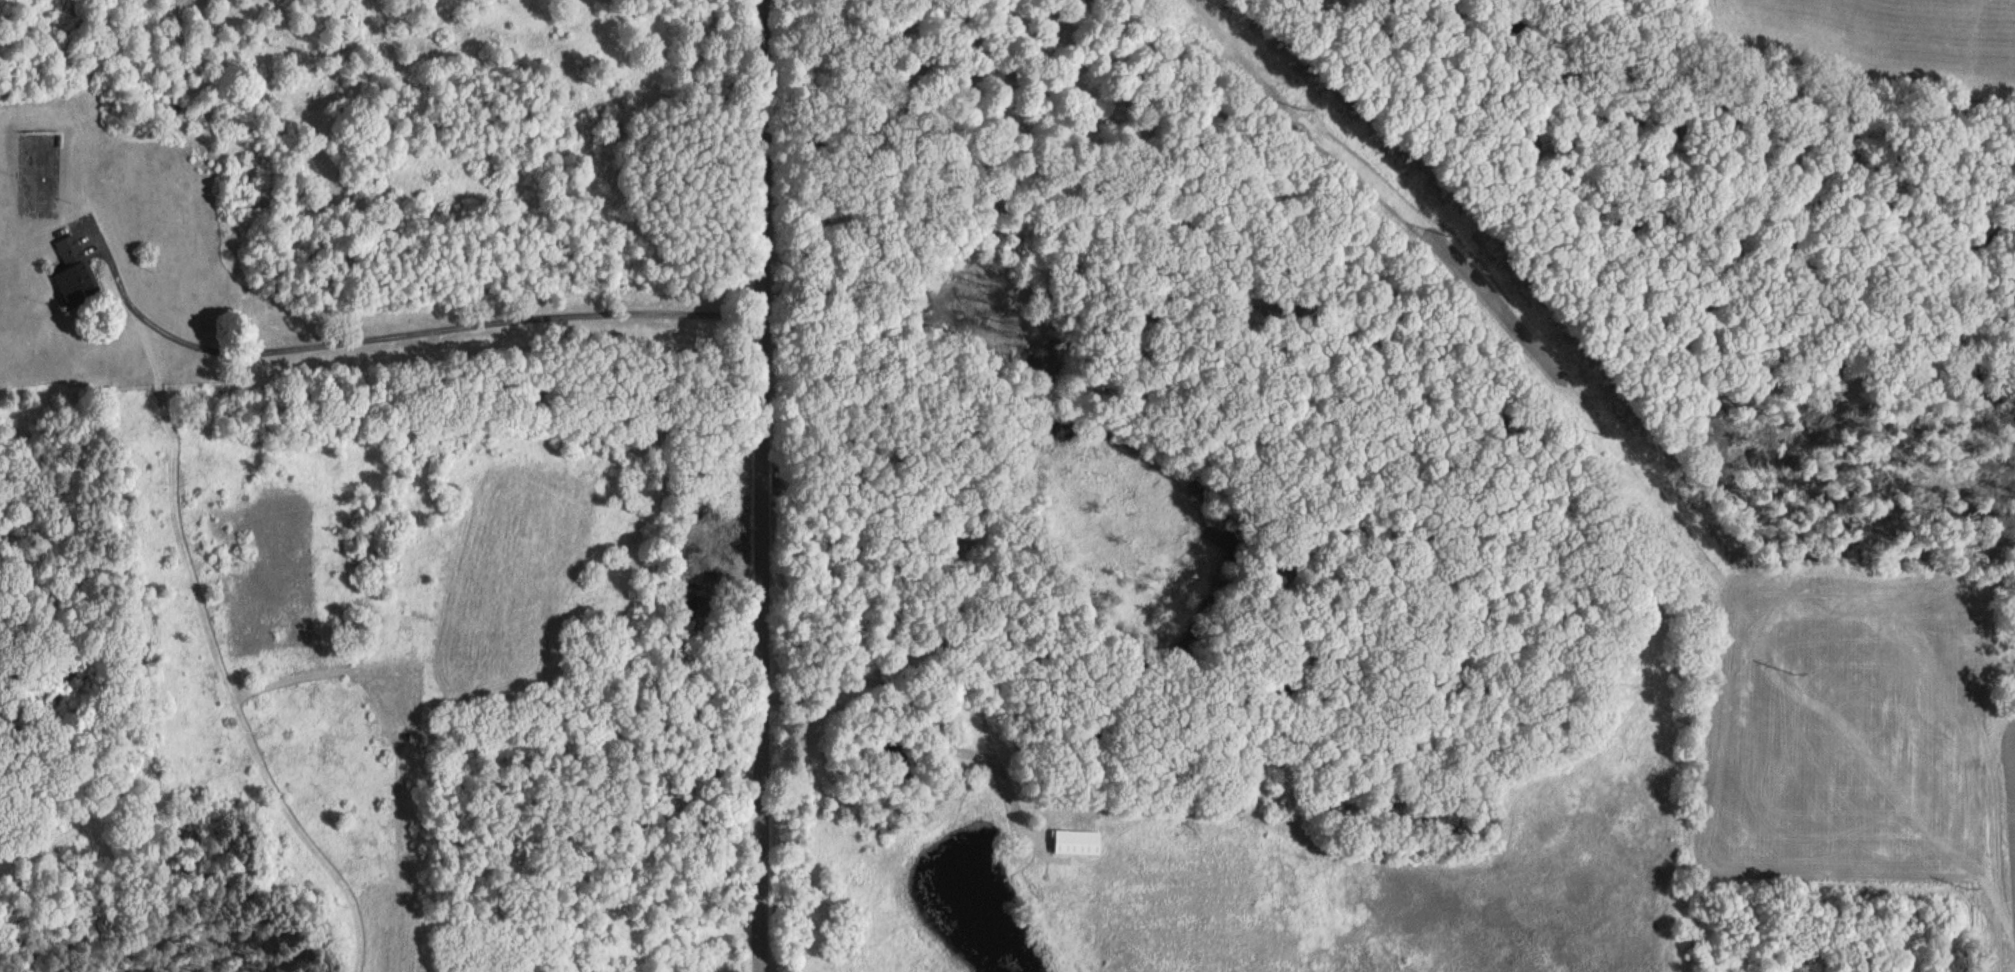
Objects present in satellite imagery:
building: (76, 272)
road: (760, 485)
building: (1077, 842)

